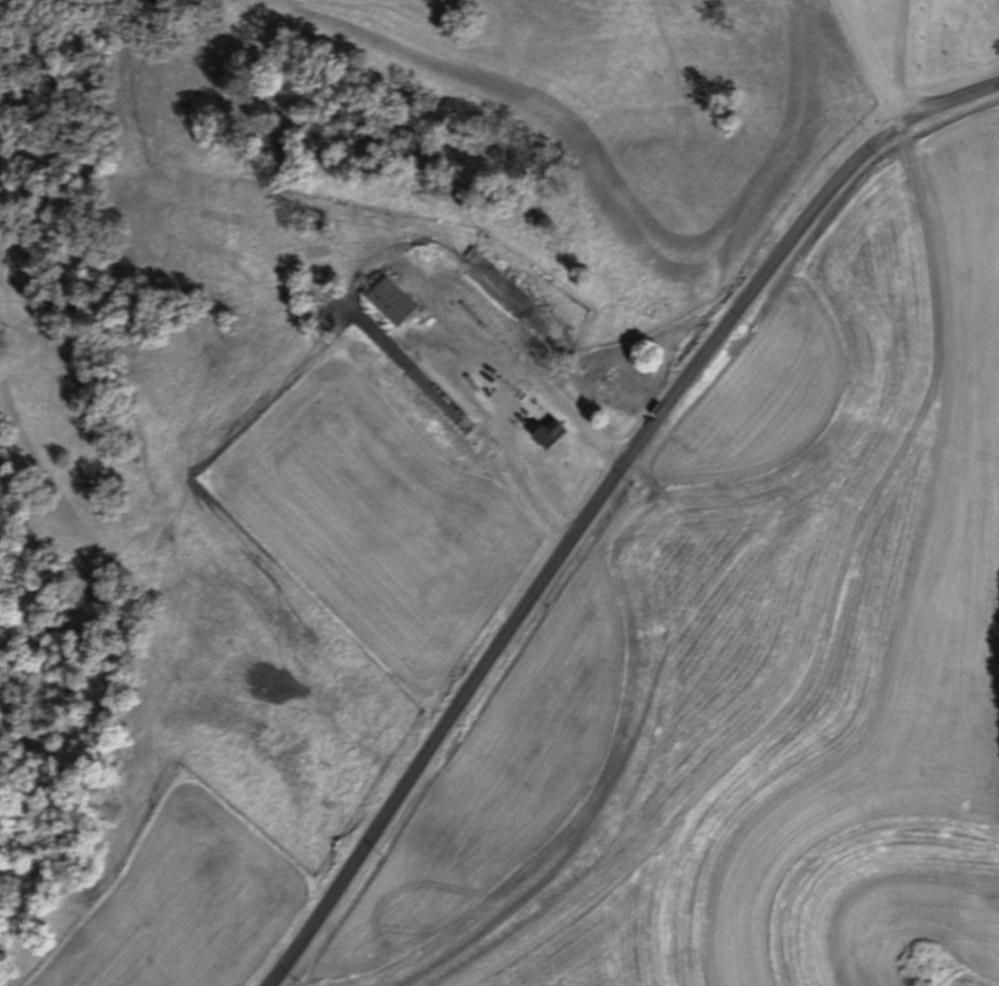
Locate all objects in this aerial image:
road: (902, 47)
road: (870, 48)
road: (902, 109)
building: (482, 295)
building: (393, 302)
building: (422, 364)
building: (449, 389)
building: (473, 410)
building: (550, 434)
building: (498, 440)
road: (602, 503)

